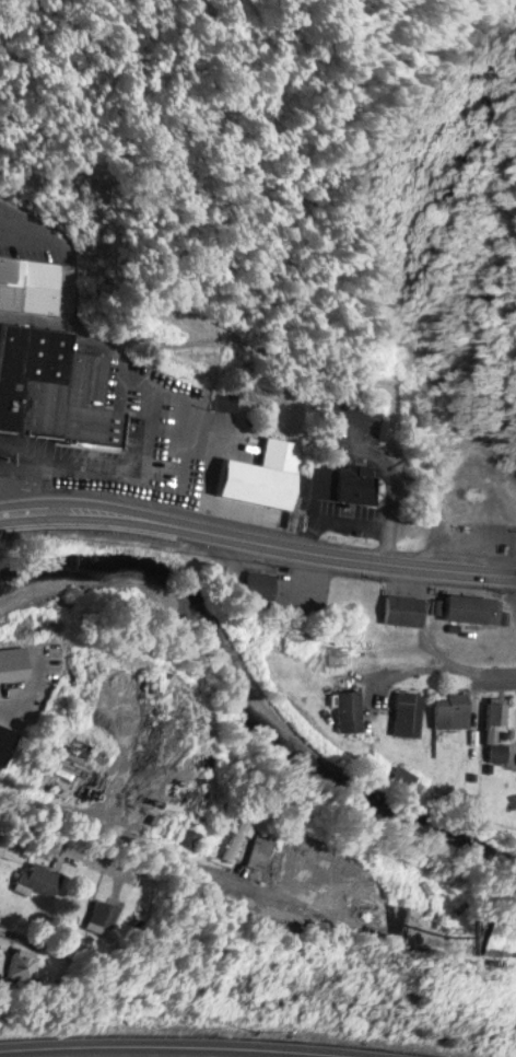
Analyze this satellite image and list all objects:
road: (3, 242)
building: (28, 280)
building: (54, 390)
building: (227, 399)
road: (34, 441)
road: (142, 452)
building: (261, 474)
building: (339, 481)
road: (257, 538)
building: (257, 584)
building: (471, 608)
building: (400, 609)
road: (445, 661)
road: (5, 707)
building: (448, 707)
building: (349, 710)
building: (408, 713)
building: (494, 731)
building: (4, 742)
building: (188, 837)
building: (235, 837)
road: (155, 844)
building: (285, 869)
building: (37, 879)
building: (103, 916)
building: (20, 964)
road: (178, 1042)

